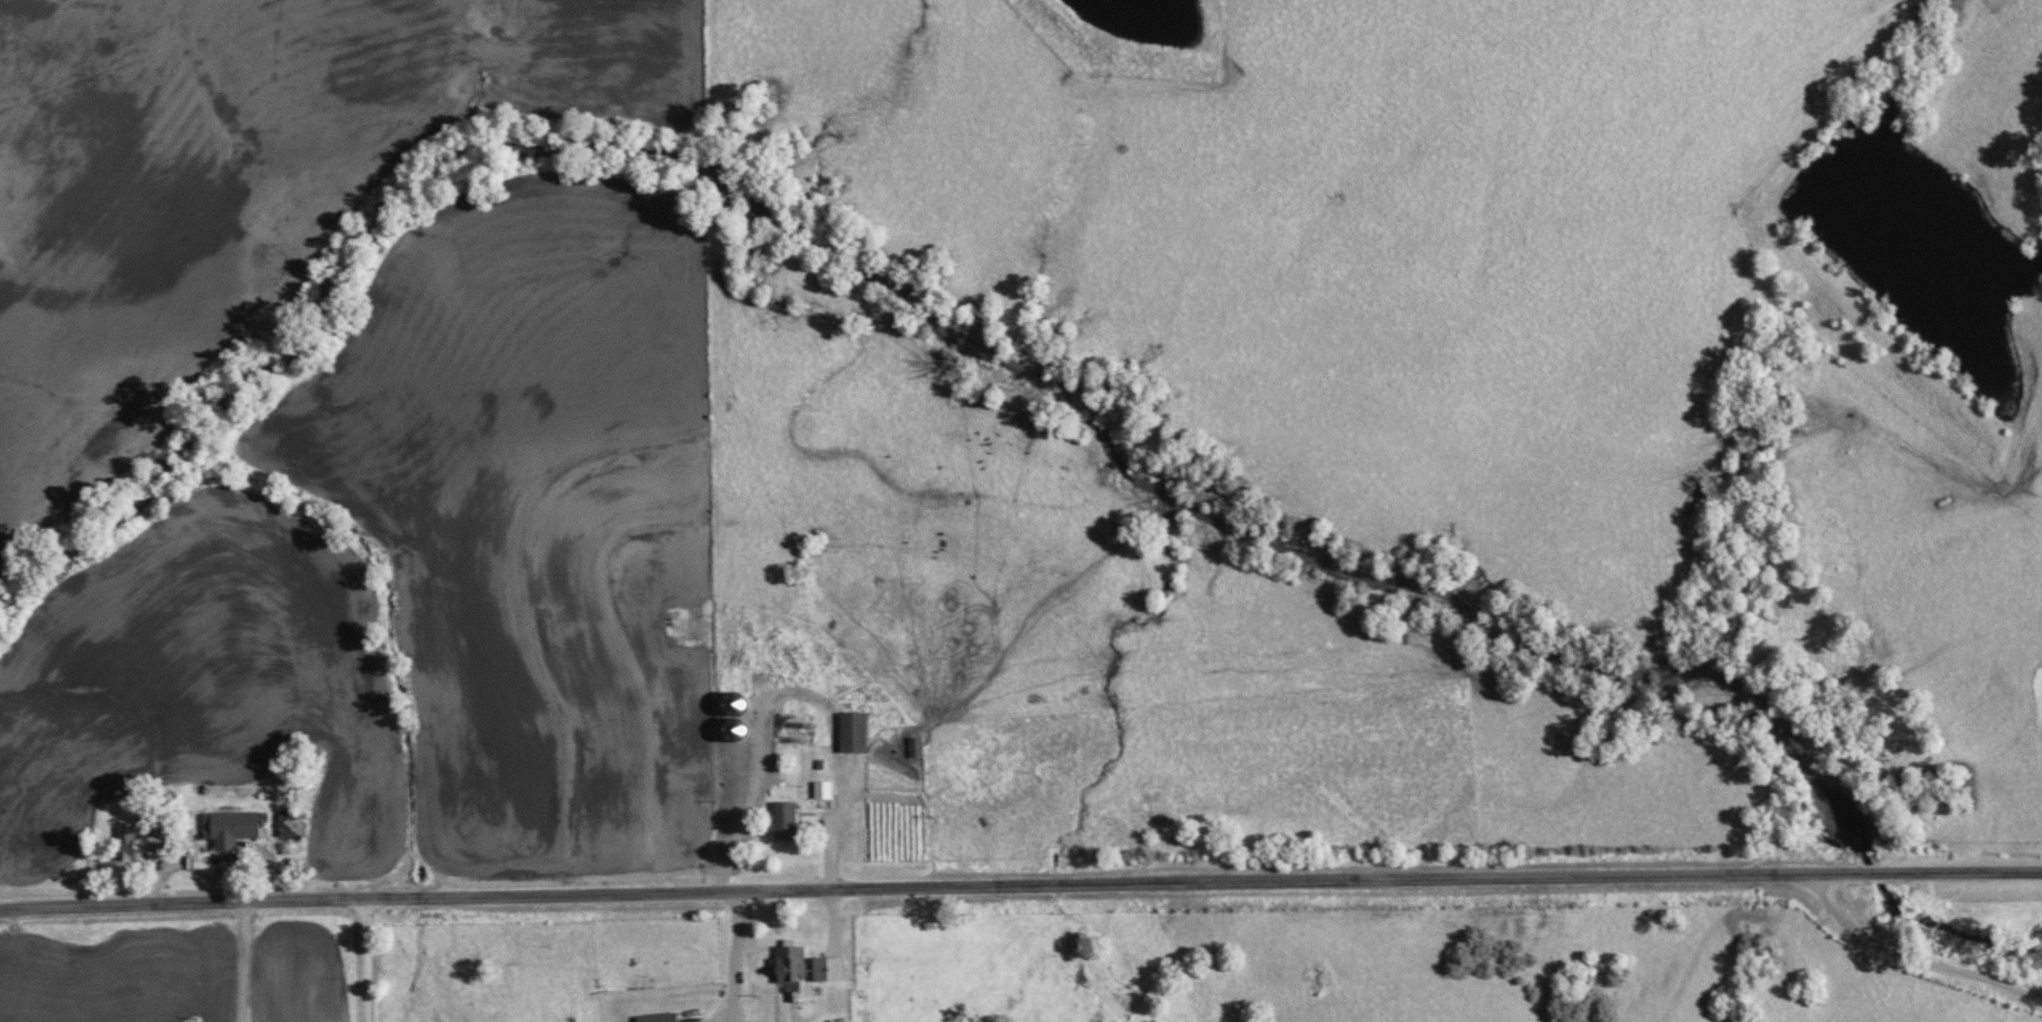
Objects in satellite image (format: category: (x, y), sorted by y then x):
crop: (699, 0)
crop: (168, 178)
crop: (284, 264)
building: (853, 732)
building: (915, 748)
building: (822, 790)
building: (784, 821)
road: (834, 821)
building: (290, 824)
building: (229, 829)
building: (125, 844)
road: (216, 854)
road: (1204, 880)
road: (183, 903)
road: (1913, 956)
road: (366, 960)
building: (790, 964)
building: (861, 970)
building: (658, 1018)

